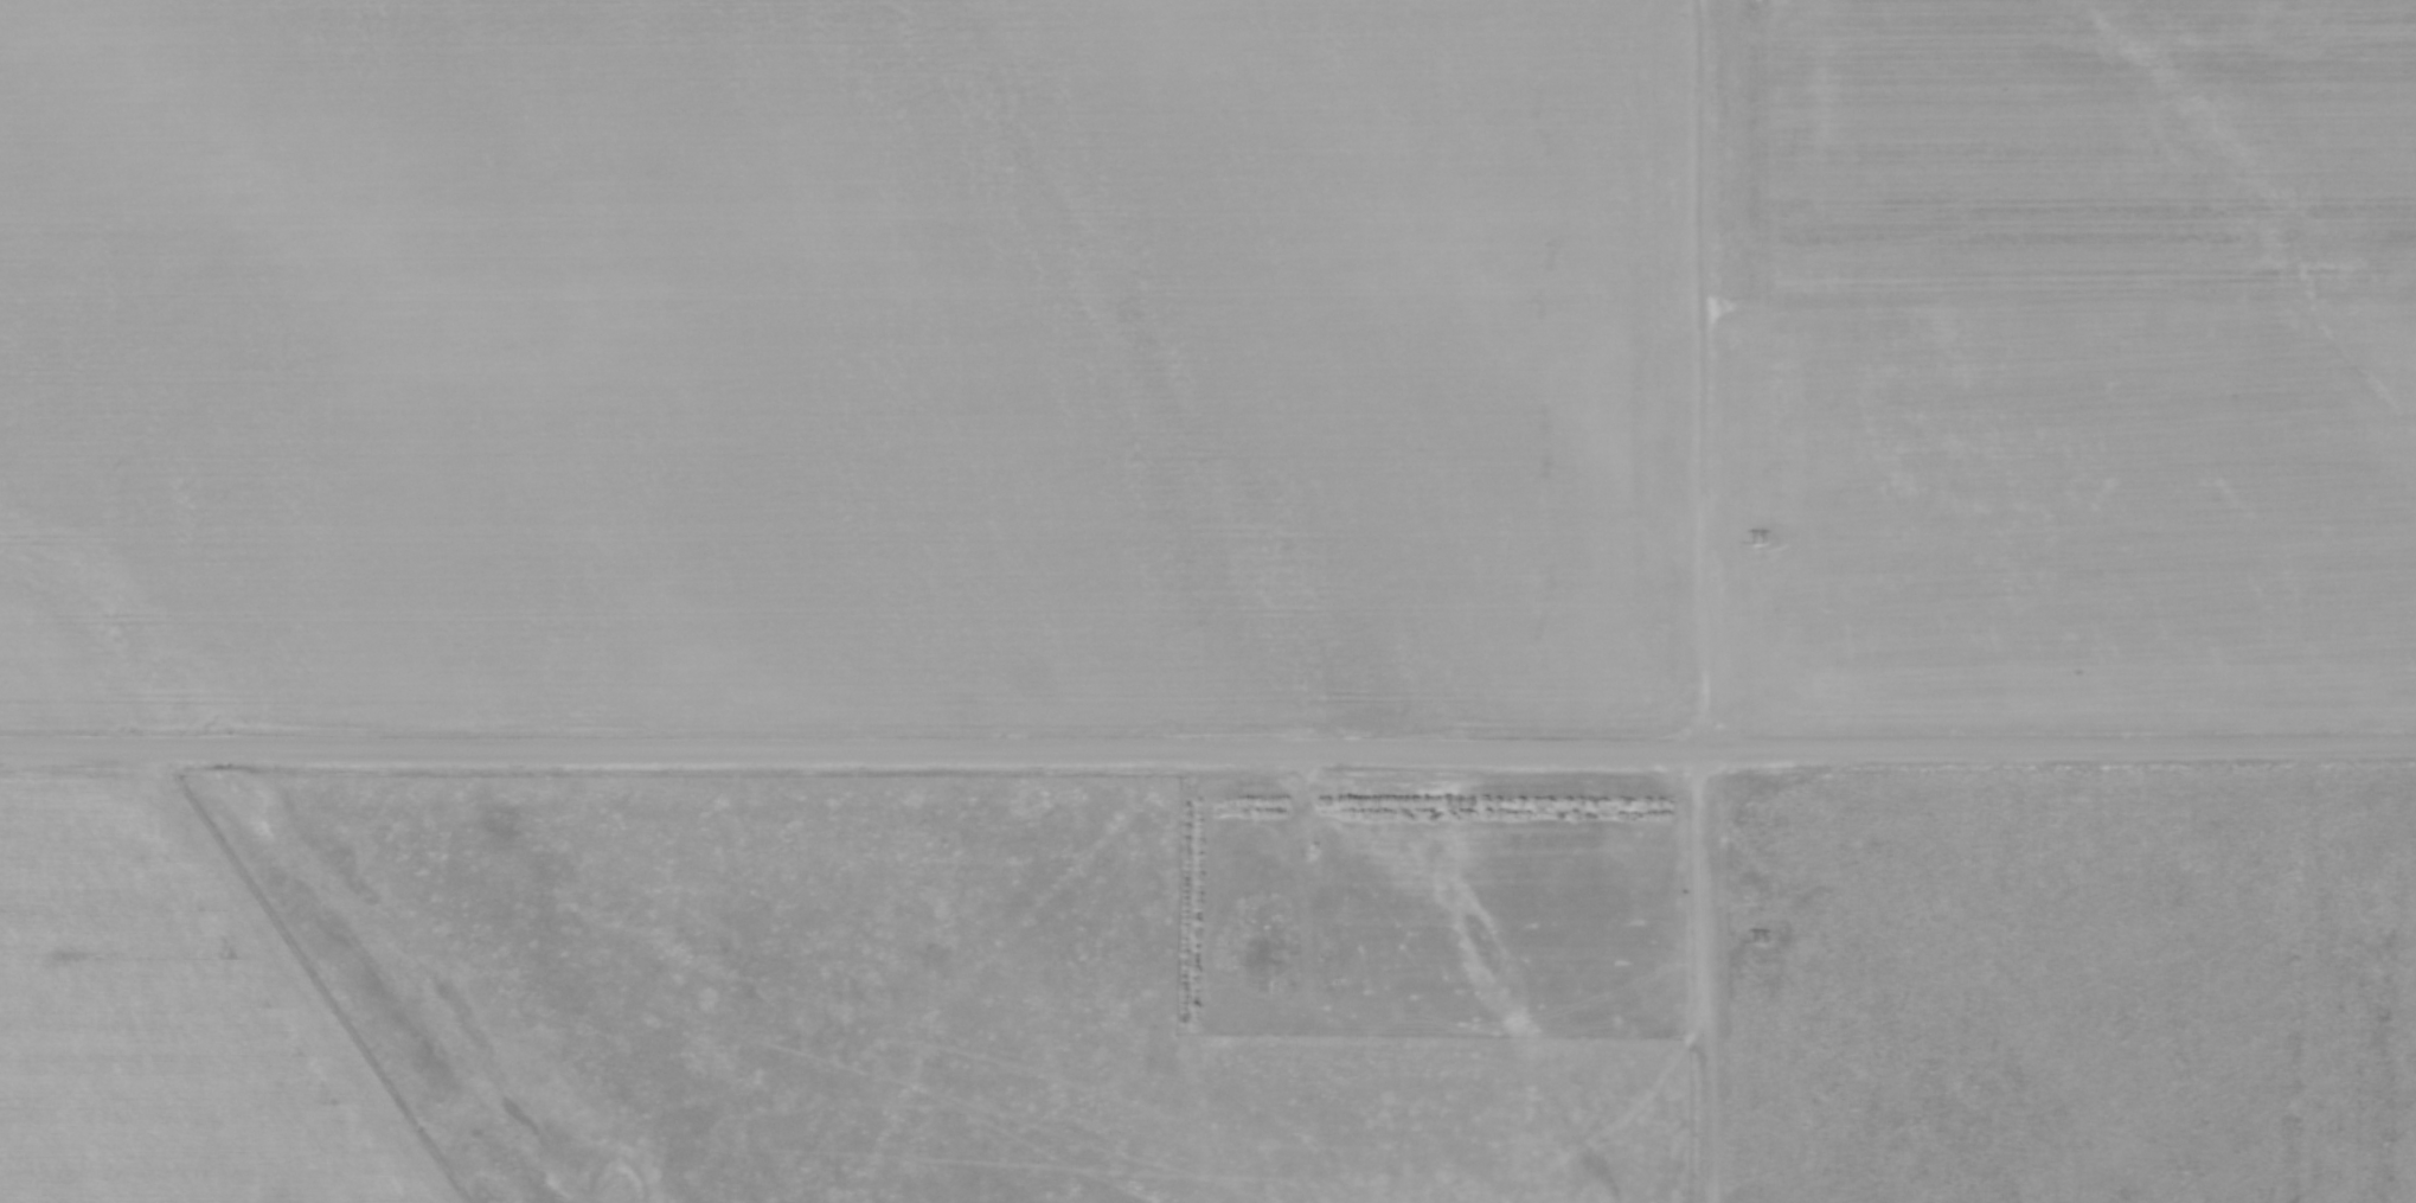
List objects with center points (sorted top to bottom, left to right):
crop: (1207, 365)
power tower: (1757, 542)
road: (1207, 751)
road: (1297, 839)
park: (1431, 903)
power tower: (1758, 941)
crop: (172, 1017)

